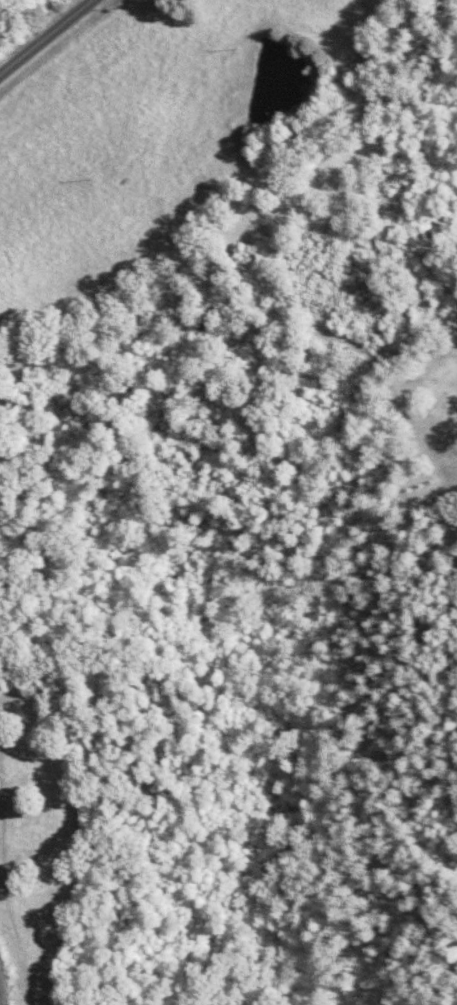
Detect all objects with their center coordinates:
road: (44, 38)

